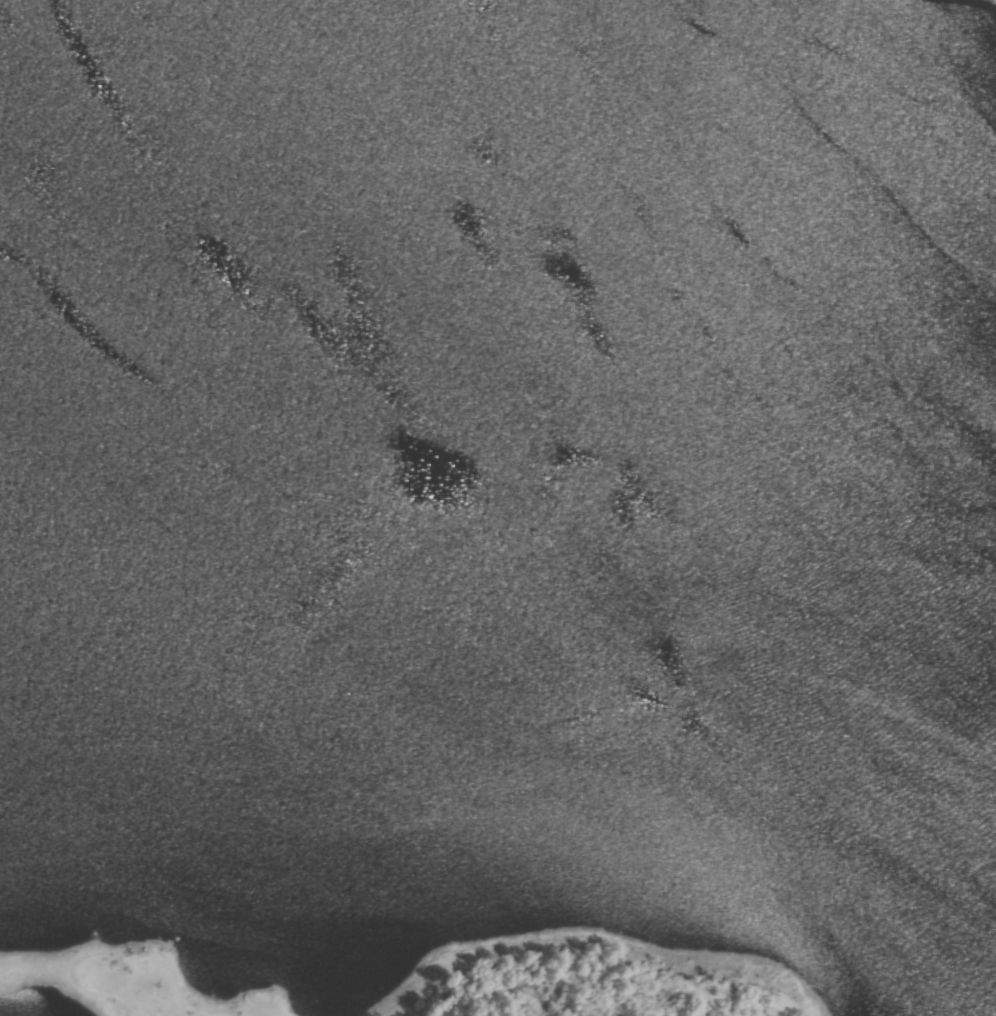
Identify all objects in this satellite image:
river: (587, 324)

